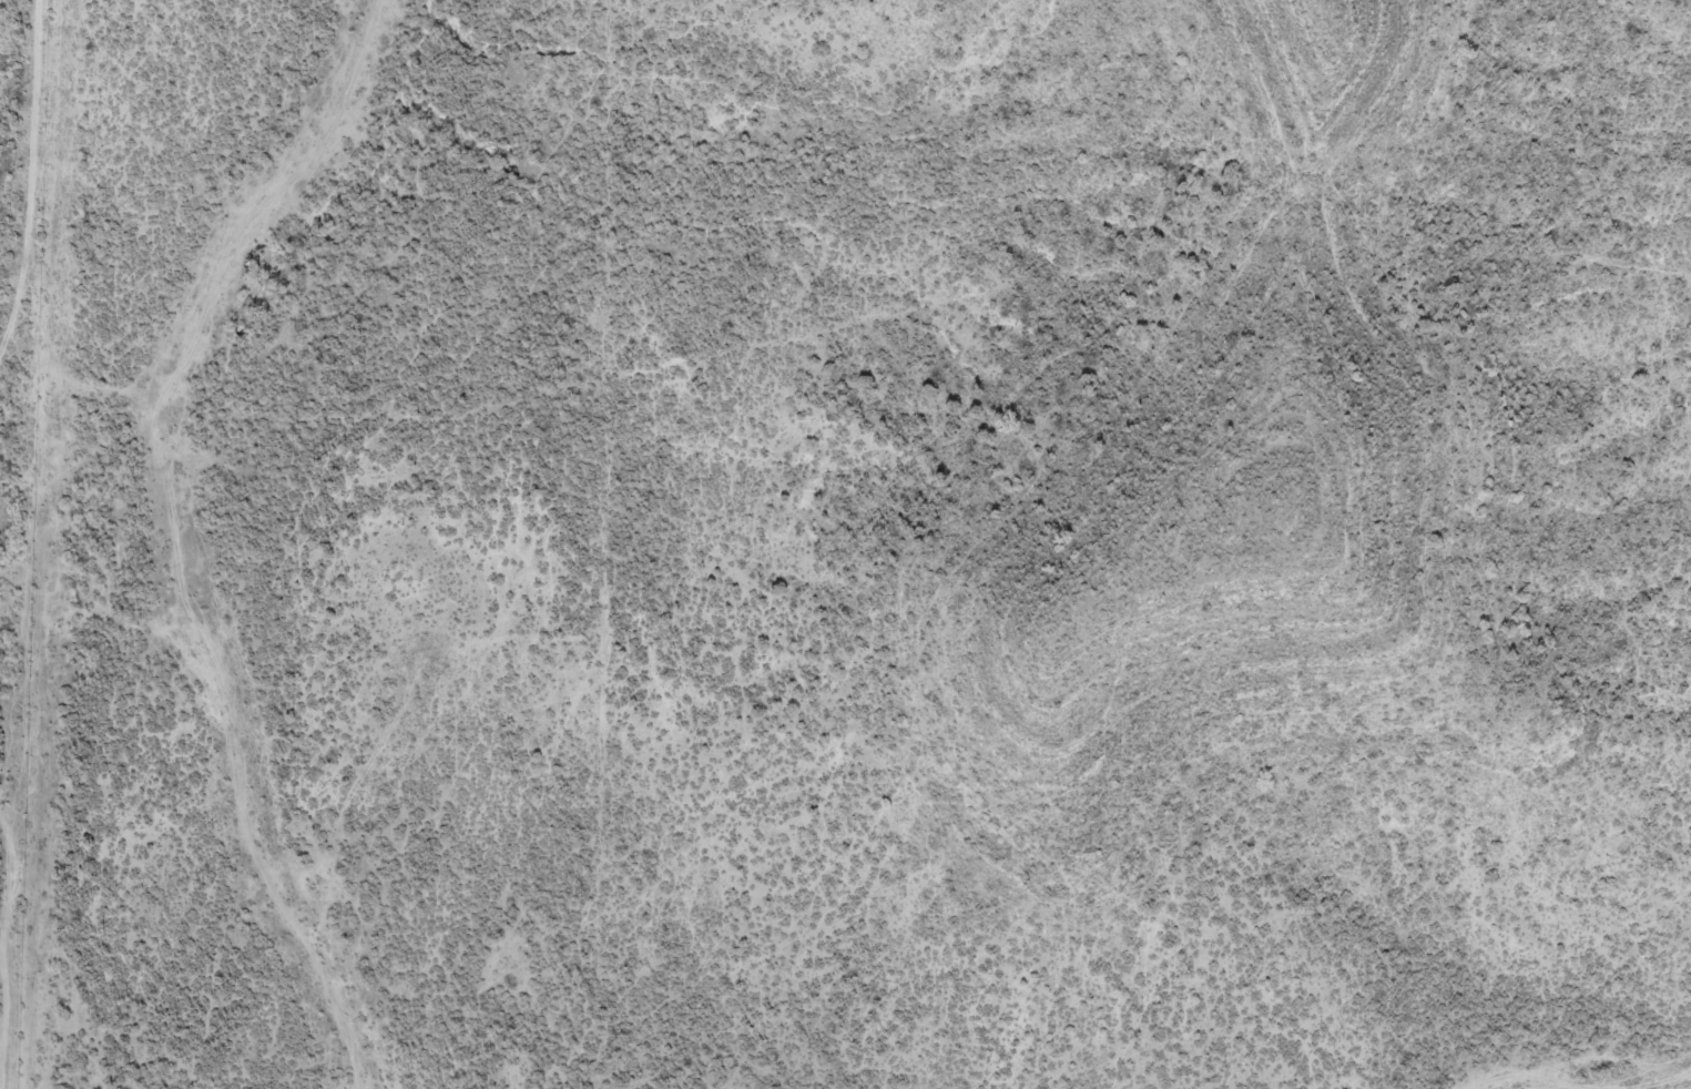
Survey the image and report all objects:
road: (67, 216)
road: (232, 537)
road: (54, 842)

